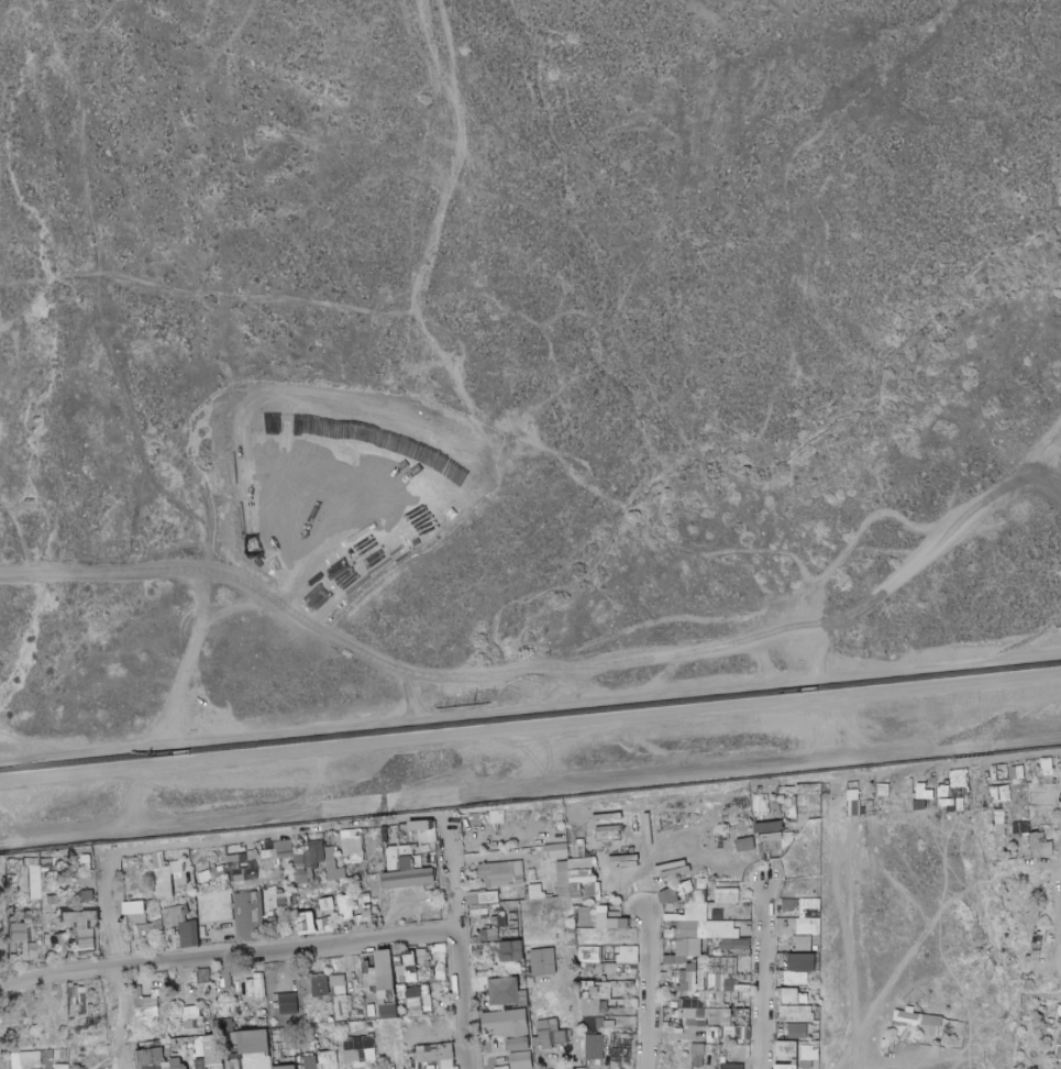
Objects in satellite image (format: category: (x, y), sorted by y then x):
road: (830, 225)
road: (11, 365)
road: (424, 376)
road: (180, 502)
road: (141, 524)
road: (855, 543)
road: (543, 665)
road: (585, 680)
road: (530, 704)
road: (831, 718)
road: (530, 725)
building: (1047, 763)
road: (137, 786)
building: (789, 792)
road: (530, 794)
building: (813, 803)
building: (791, 804)
building: (760, 807)
building: (998, 813)
building: (792, 814)
building: (608, 816)
building: (816, 817)
building: (998, 820)
building: (784, 822)
building: (648, 823)
building: (400, 826)
building: (420, 826)
building: (628, 826)
building: (996, 826)
building: (998, 828)
building: (998, 829)
building: (1019, 829)
building: (1032, 829)
building: (383, 830)
building: (607, 833)
building: (717, 834)
building: (425, 835)
building: (771, 835)
road: (284, 836)
building: (585, 837)
building: (716, 839)
building: (328, 840)
building: (350, 844)
building: (744, 844)
building: (1046, 845)
building: (413, 846)
building: (1035, 846)
building: (229, 847)
building: (253, 848)
building: (279, 848)
building: (405, 850)
building: (586, 850)
building: (314, 851)
building: (555, 851)
building: (577, 851)
building: (1047, 852)
building: (86, 853)
building: (329, 853)
building: (265, 855)
building: (391, 855)
building: (297, 857)
building: (306, 857)
building: (423, 857)
building: (355, 858)
building: (88, 859)
building: (627, 860)
building: (31, 861)
building: (406, 863)
building: (484, 863)
building: (45, 864)
building: (266, 864)
building: (578, 864)
road: (1041, 864)
building: (55, 868)
building: (300, 868)
building: (391, 868)
building: (517, 868)
building: (333, 870)
building: (244, 871)
building: (355, 871)
building: (42, 873)
building: (499, 873)
building: (169, 874)
building: (309, 874)
building: (214, 877)
building: (296, 878)
building: (373, 878)
building: (408, 878)
building: (13, 879)
building: (314, 879)
building: (363, 879)
building: (563, 879)
building: (583, 879)
building: (700, 879)
building: (34, 882)
building: (316, 882)
building: (488, 882)
building: (51, 886)
building: (700, 886)
building: (243, 888)
building: (297, 888)
building: (684, 888)
building: (234, 889)
building: (438, 889)
building: (170, 891)
building: (576, 891)
building: (676, 891)
building: (534, 892)
building: (588, 892)
building: (597, 892)
building: (526, 893)
building: (25, 894)
building: (44, 895)
building: (87, 895)
building: (339, 895)
building: (548, 895)
building: (284, 896)
building: (488, 896)
building: (668, 896)
building: (701, 896)
building: (726, 896)
building: (473, 897)
building: (687, 897)
building: (693, 897)
building: (190, 899)
building: (268, 899)
building: (52, 900)
building: (603, 900)
building: (499, 901)
building: (576, 901)
building: (609, 901)
building: (146, 902)
building: (363, 903)
building: (500, 903)
building: (585, 903)
building: (815, 903)
road: (765, 905)
building: (787, 905)
building: (135, 906)
building: (496, 906)
building: (314, 907)
building: (325, 907)
building: (343, 907)
building: (600, 907)
building: (215, 908)
building: (278, 908)
building: (34, 910)
building: (482, 910)
building: (808, 910)
building: (12, 912)
building: (185, 912)
building: (35, 914)
building: (793, 914)
building: (584, 915)
building: (172, 916)
road: (0, 917)
building: (248, 917)
building: (365, 917)
building: (374, 917)
building: (594, 918)
building: (601, 921)
building: (306, 922)
building: (505, 923)
building: (612, 923)
building: (623, 924)
building: (785, 924)
road: (649, 925)
building: (703, 925)
building: (323, 926)
building: (605, 927)
building: (798, 927)
building: (570, 928)
building: (29, 929)
building: (150, 929)
building: (687, 929)
building: (15, 932)
building: (491, 934)
building: (135, 936)
building: (191, 936)
building: (59, 938)
building: (81, 939)
building: (816, 940)
building: (703, 941)
building: (172, 944)
building: (738, 944)
building: (803, 944)
building: (90, 945)
road: (463, 945)
building: (162, 946)
building: (133, 947)
building: (571, 947)
building: (687, 947)
building: (15, 948)
building: (1034, 948)
building: (816, 949)
road: (1059, 949)
building: (32, 950)
building: (438, 950)
building: (511, 951)
building: (60, 952)
building: (571, 952)
building: (397, 954)
building: (419, 954)
building: (588, 954)
building: (703, 954)
building: (1027, 954)
building: (600, 955)
building: (362, 956)
building: (817, 956)
road: (230, 957)
building: (13, 958)
building: (684, 959)
building: (439, 960)
building: (673, 960)
building: (542, 961)
building: (614, 962)
building: (802, 962)
building: (405, 963)
road: (1041, 963)
building: (425, 965)
road: (106, 966)
building: (431, 966)
building: (585, 966)
building: (721, 966)
building: (816, 969)
building: (620, 970)
building: (630, 970)
building: (318, 971)
building: (333, 973)
building: (440, 973)
building: (699, 973)
building: (585, 974)
building: (671, 974)
building: (257, 976)
building: (794, 976)
building: (368, 977)
building: (415, 977)
building: (730, 977)
building: (380, 978)
building: (151, 980)
building: (225, 981)
building: (692, 981)
building: (387, 982)
building: (480, 983)
building: (671, 983)
building: (679, 983)
building: (712, 983)
building: (417, 984)
building: (611, 984)
building: (319, 985)
building: (336, 985)
building: (628, 985)
building: (743, 985)
building: (254, 988)
building: (665, 989)
building: (727, 989)
building: (86, 990)
building: (596, 990)
building: (284, 991)
building: (504, 991)
building: (698, 993)
building: (670, 994)
building: (804, 994)
building: (789, 995)
building: (327, 996)
building: (417, 996)
building: (256, 998)
building: (730, 998)
building: (523, 999)
building: (74, 1000)
road: (762, 1000)
building: (715, 1001)
building: (1046, 1001)
building: (139, 1002)
building: (288, 1003)
building: (372, 1003)
building: (690, 1003)
building: (630, 1004)
building: (742, 1004)
building: (90, 1005)
road: (649, 1006)
building: (322, 1009)
building: (339, 1009)
building: (587, 1010)
building: (362, 1011)
building: (1058, 1011)
building: (145, 1012)
building: (371, 1012)
building: (389, 1012)
building: (684, 1012)
building: (692, 1013)
building: (401, 1014)
building: (601, 1014)
building: (795, 1014)
building: (717, 1015)
building: (190, 1017)
building: (700, 1017)
building: (330, 1018)
building: (742, 1018)
building: (930, 1020)
building: (261, 1022)
building: (816, 1022)
building: (1058, 1022)
building: (587, 1023)
building: (598, 1023)
building: (726, 1023)
building: (233, 1024)
building: (505, 1024)
building: (684, 1024)
building: (203, 1025)
building: (548, 1025)
building: (695, 1025)
building: (221, 1026)
road: (566, 1027)
building: (205, 1028)
building: (589, 1031)
building: (795, 1031)
building: (931, 1031)
building: (273, 1032)
building: (567, 1033)
building: (720, 1034)
building: (1040, 1035)
building: (607, 1037)
building: (228, 1038)
building: (552, 1038)
building: (594, 1039)
building: (167, 1040)
building: (162, 1042)
building: (256, 1042)
building: (537, 1042)
building: (743, 1042)
building: (194, 1043)
building: (518, 1044)
building: (318, 1046)
building: (358, 1048)
building: (806, 1048)
building: (697, 1049)
building: (716, 1050)
building: (740, 1050)
building: (594, 1053)
building: (27, 1054)
building: (789, 1054)
building: (815, 1054)
building: (1057, 1054)
building: (805, 1055)
building: (150, 1056)
building: (434, 1056)
building: (327, 1057)
building: (48, 1058)
building: (64, 1058)
building: (776, 1058)
building: (167, 1059)
building: (295, 1059)
building: (25, 1060)
building: (520, 1060)
building: (696, 1060)
building: (233, 1061)
building: (278, 1061)
building: (309, 1061)
building: (368, 1062)
building: (176, 1064)
building: (194, 1064)
building: (200, 1064)
building: (352, 1064)
building: (805, 1064)
building: (166, 1065)
building: (276, 1065)
building: (151, 1066)
building: (331, 1066)
building: (718, 1066)
building: (732, 1066)
road: (916, 1066)
building: (58, 1067)
building: (64, 1067)
building: (286, 1067)
building: (501, 1067)
building: (785, 1067)
building: (38, 1068)

